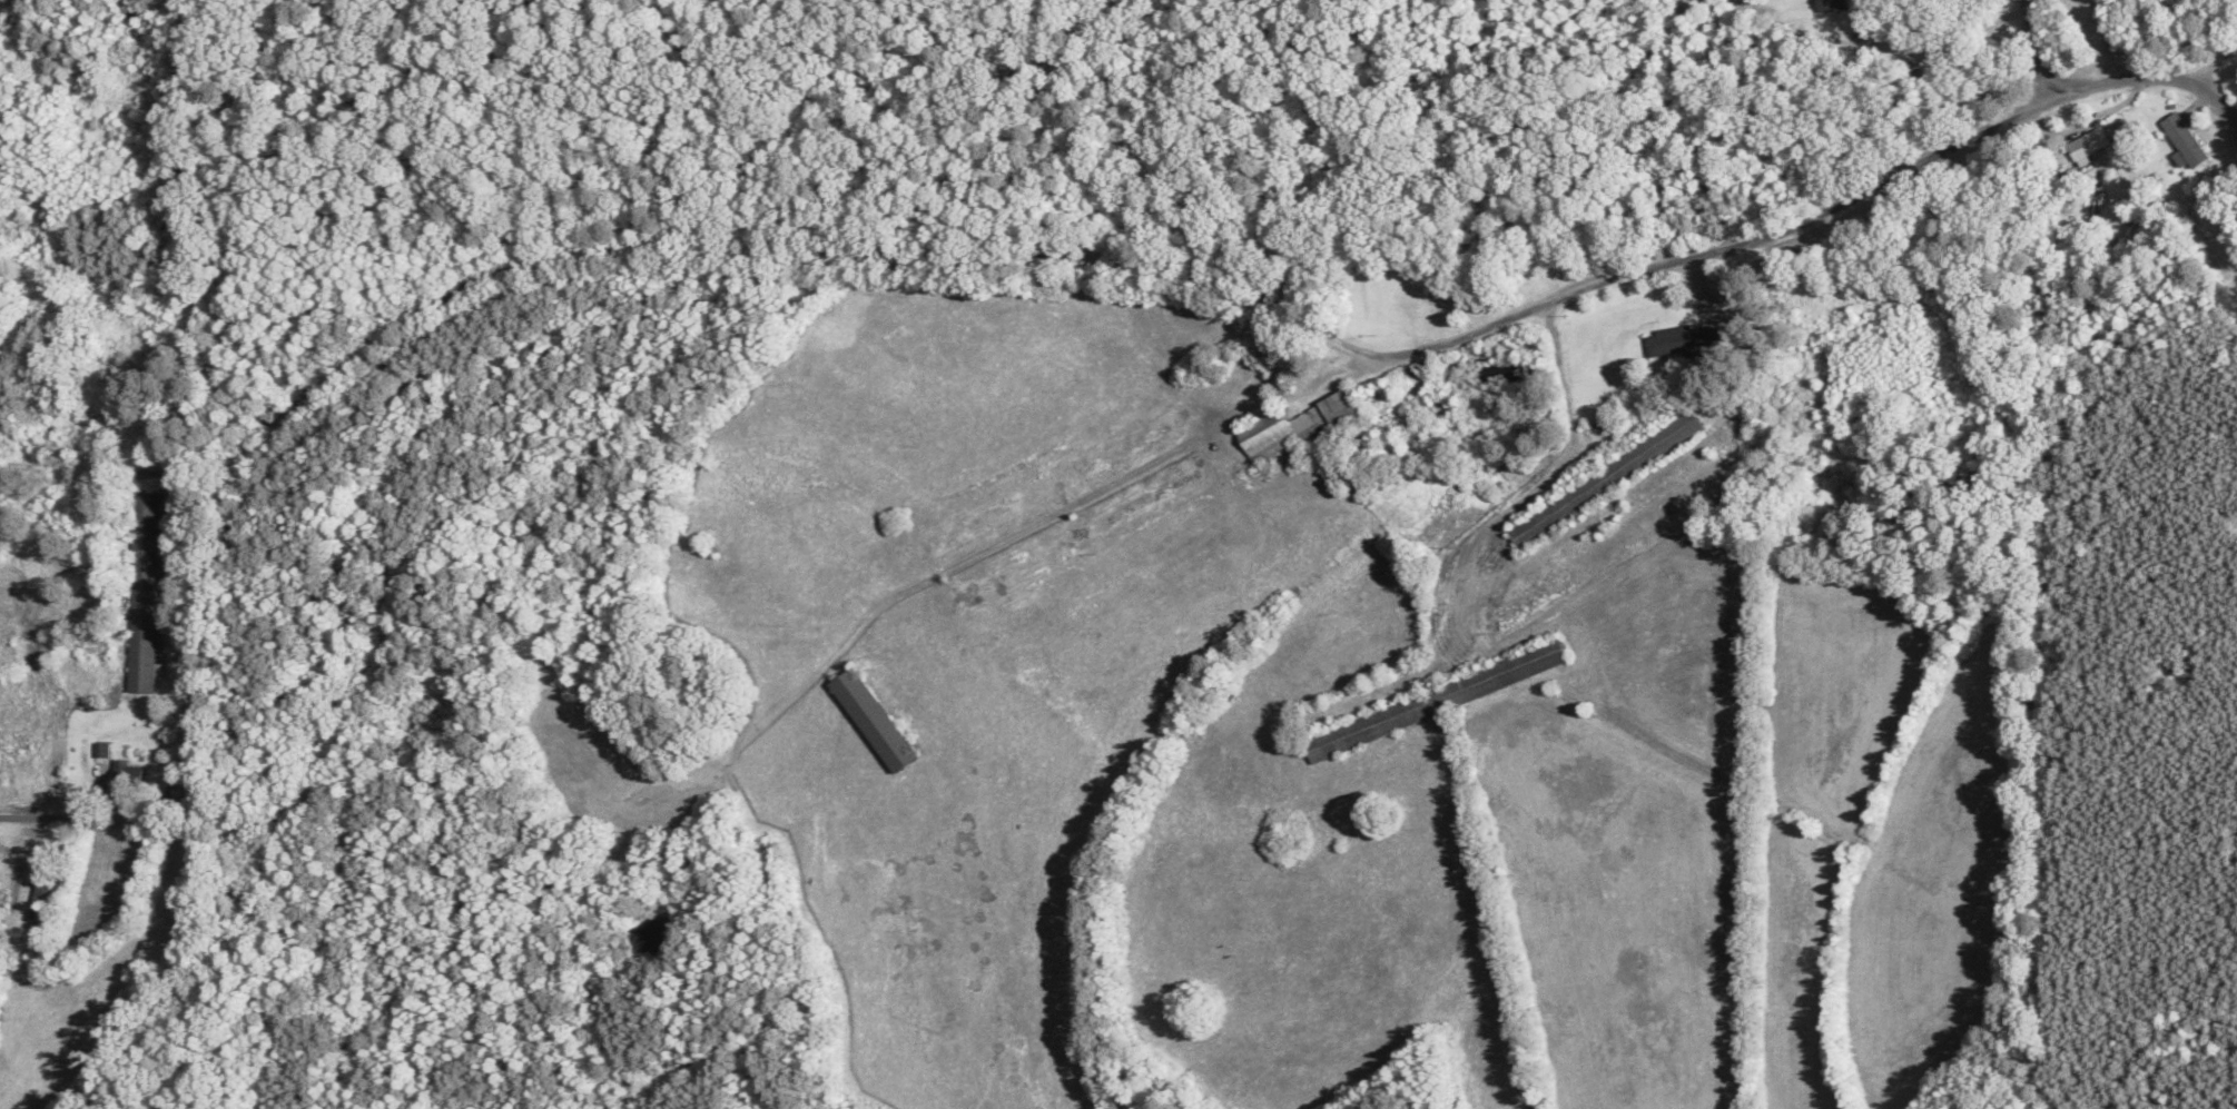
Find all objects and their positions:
building: (1829, 7)
road: (2053, 49)
building: (2180, 141)
building: (2085, 147)
road: (992, 278)
building: (1380, 298)
building: (1681, 343)
building: (1295, 428)
building: (1602, 482)
building: (1654, 515)
building: (139, 591)
building: (40, 696)
building: (1430, 702)
building: (868, 721)
building: (3, 875)
building: (32, 908)

